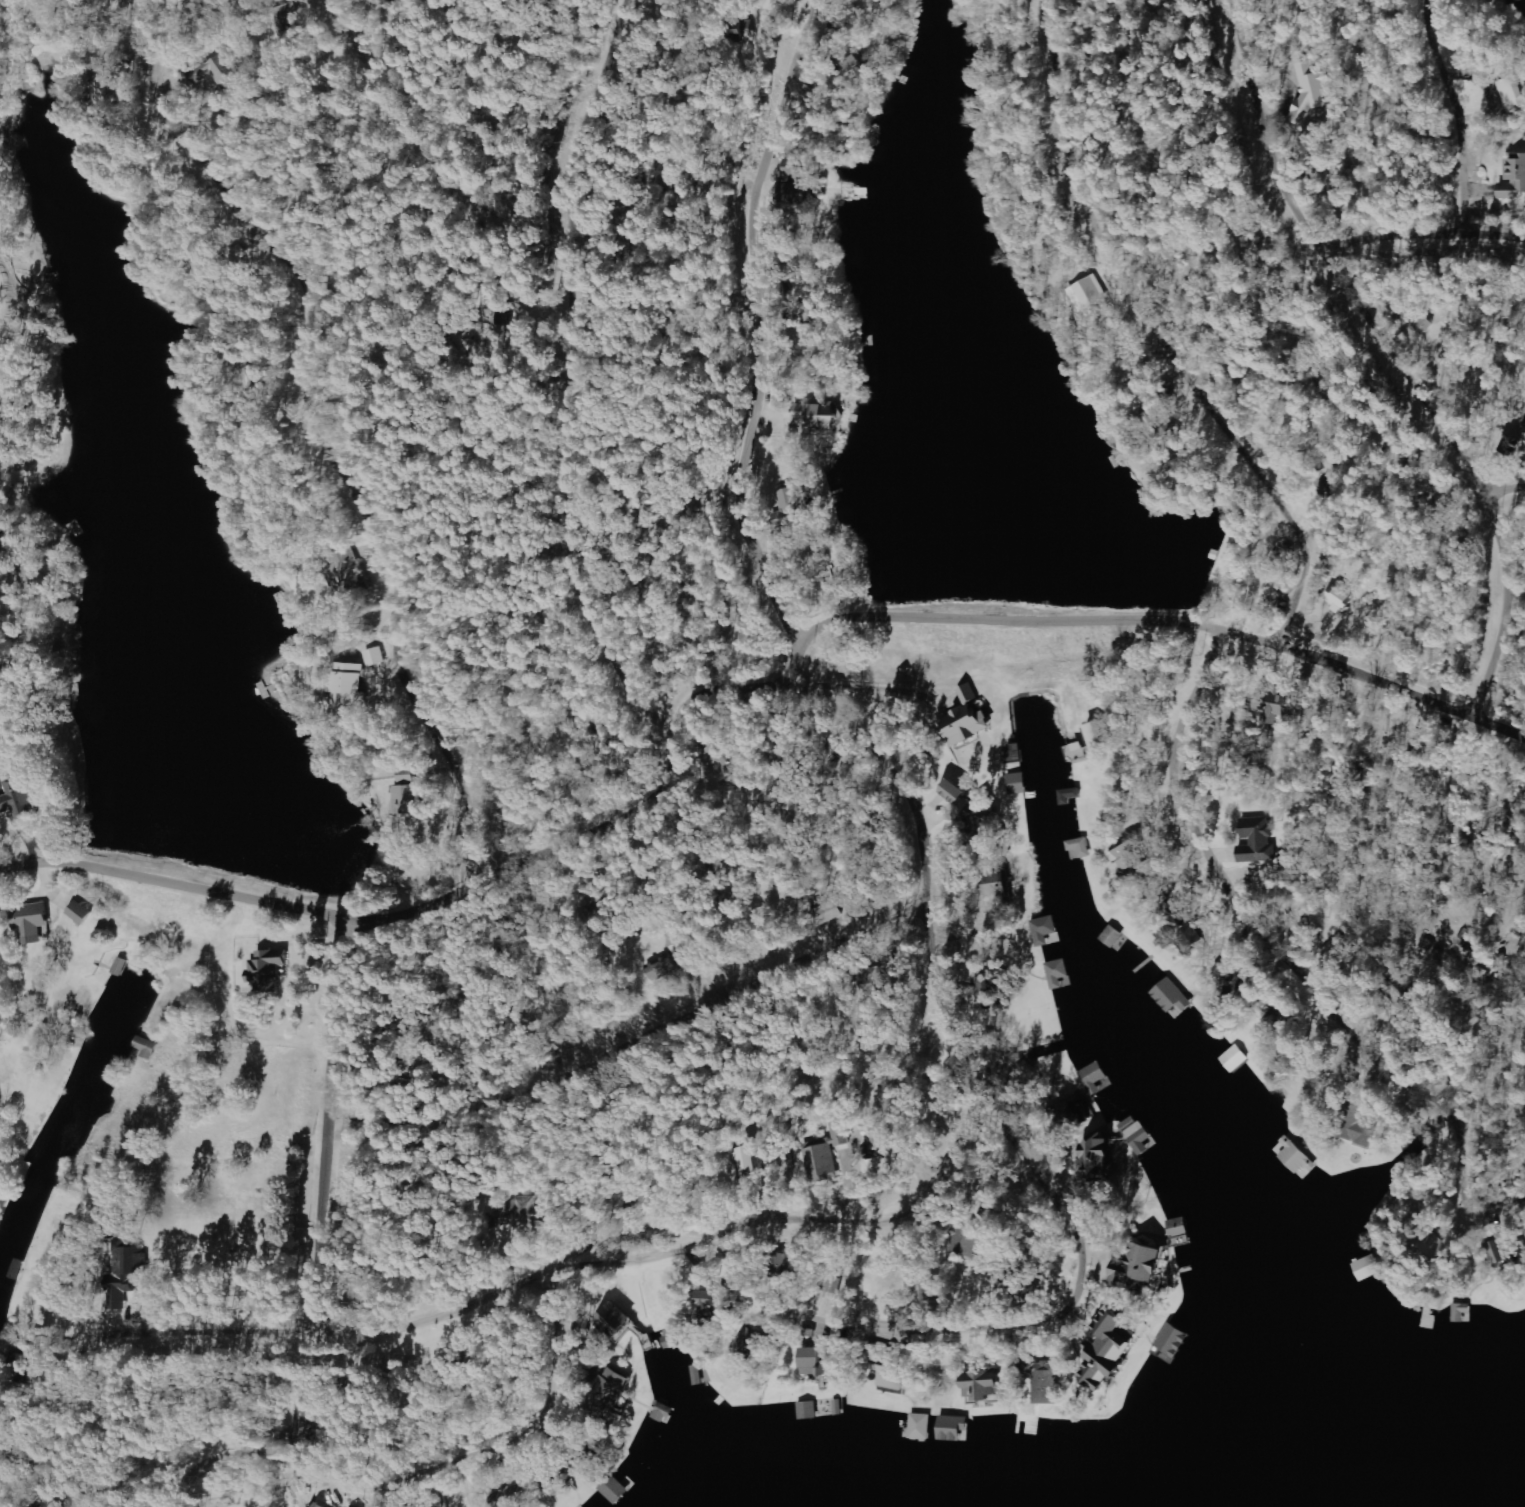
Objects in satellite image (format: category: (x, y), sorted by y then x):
building: (404, 0)
building: (776, 5)
building: (223, 70)
building: (1314, 92)
building: (1513, 95)
road: (1458, 105)
road: (581, 109)
road: (425, 133)
road: (790, 149)
building: (793, 168)
building: (1514, 178)
road: (1083, 186)
building: (797, 193)
road: (1500, 216)
road: (1399, 233)
road: (1179, 313)
road: (758, 322)
road: (1398, 350)
building: (817, 417)
road: (778, 434)
road: (302, 437)
road: (1235, 458)
road: (562, 498)
building: (790, 512)
road: (792, 571)
building: (346, 573)
road: (1260, 575)
road: (1518, 586)
building: (1340, 600)
road: (914, 605)
building: (374, 658)
building: (348, 687)
road: (866, 690)
building: (1270, 703)
road: (1500, 716)
building: (966, 718)
building: (1098, 732)
building: (724, 756)
building: (1015, 783)
building: (952, 791)
building: (404, 794)
building: (18, 799)
building: (1258, 840)
road: (1215, 871)
road: (940, 876)
building: (994, 885)
road: (235, 887)
building: (80, 912)
building: (828, 913)
building: (32, 922)
building: (1046, 931)
road: (1288, 939)
building: (268, 969)
building: (659, 969)
road: (1298, 971)
building: (1057, 973)
building: (1171, 996)
road: (1340, 1019)
road: (632, 1029)
road: (1411, 1041)
building: (146, 1048)
road: (975, 1063)
building: (1093, 1076)
road: (1421, 1089)
road: (322, 1120)
building: (1359, 1126)
building: (1138, 1135)
building: (875, 1151)
building: (825, 1155)
building: (1095, 1158)
building: (741, 1159)
road: (1456, 1166)
road: (919, 1174)
road: (1072, 1176)
building: (525, 1211)
road: (1521, 1212)
road: (763, 1224)
road: (878, 1225)
building: (968, 1243)
building: (1433, 1245)
building: (1502, 1251)
building: (134, 1261)
building: (783, 1265)
building: (1137, 1267)
road: (1065, 1275)
building: (833, 1285)
road: (746, 1292)
building: (127, 1302)
building: (705, 1303)
road: (910, 1309)
building: (1461, 1312)
road: (788, 1316)
building: (612, 1320)
road: (1015, 1324)
road: (1067, 1328)
road: (860, 1330)
road: (948, 1337)
building: (1173, 1340)
building: (746, 1342)
road: (1012, 1342)
building: (1107, 1351)
building: (816, 1361)
road: (519, 1368)
building: (892, 1378)
building: (1048, 1384)
building: (981, 1385)
building: (608, 1395)
building: (808, 1410)
road: (517, 1421)
road: (127, 1423)
road: (141, 1423)
building: (920, 1427)
road: (482, 1474)
road: (423, 1485)
road: (288, 1488)
building: (616, 1491)
building: (506, 1496)
road: (379, 1500)
road: (230, 1502)
road: (234, 1502)
road: (143, 1505)
building: (435, 1505)
road: (321, 1506)

